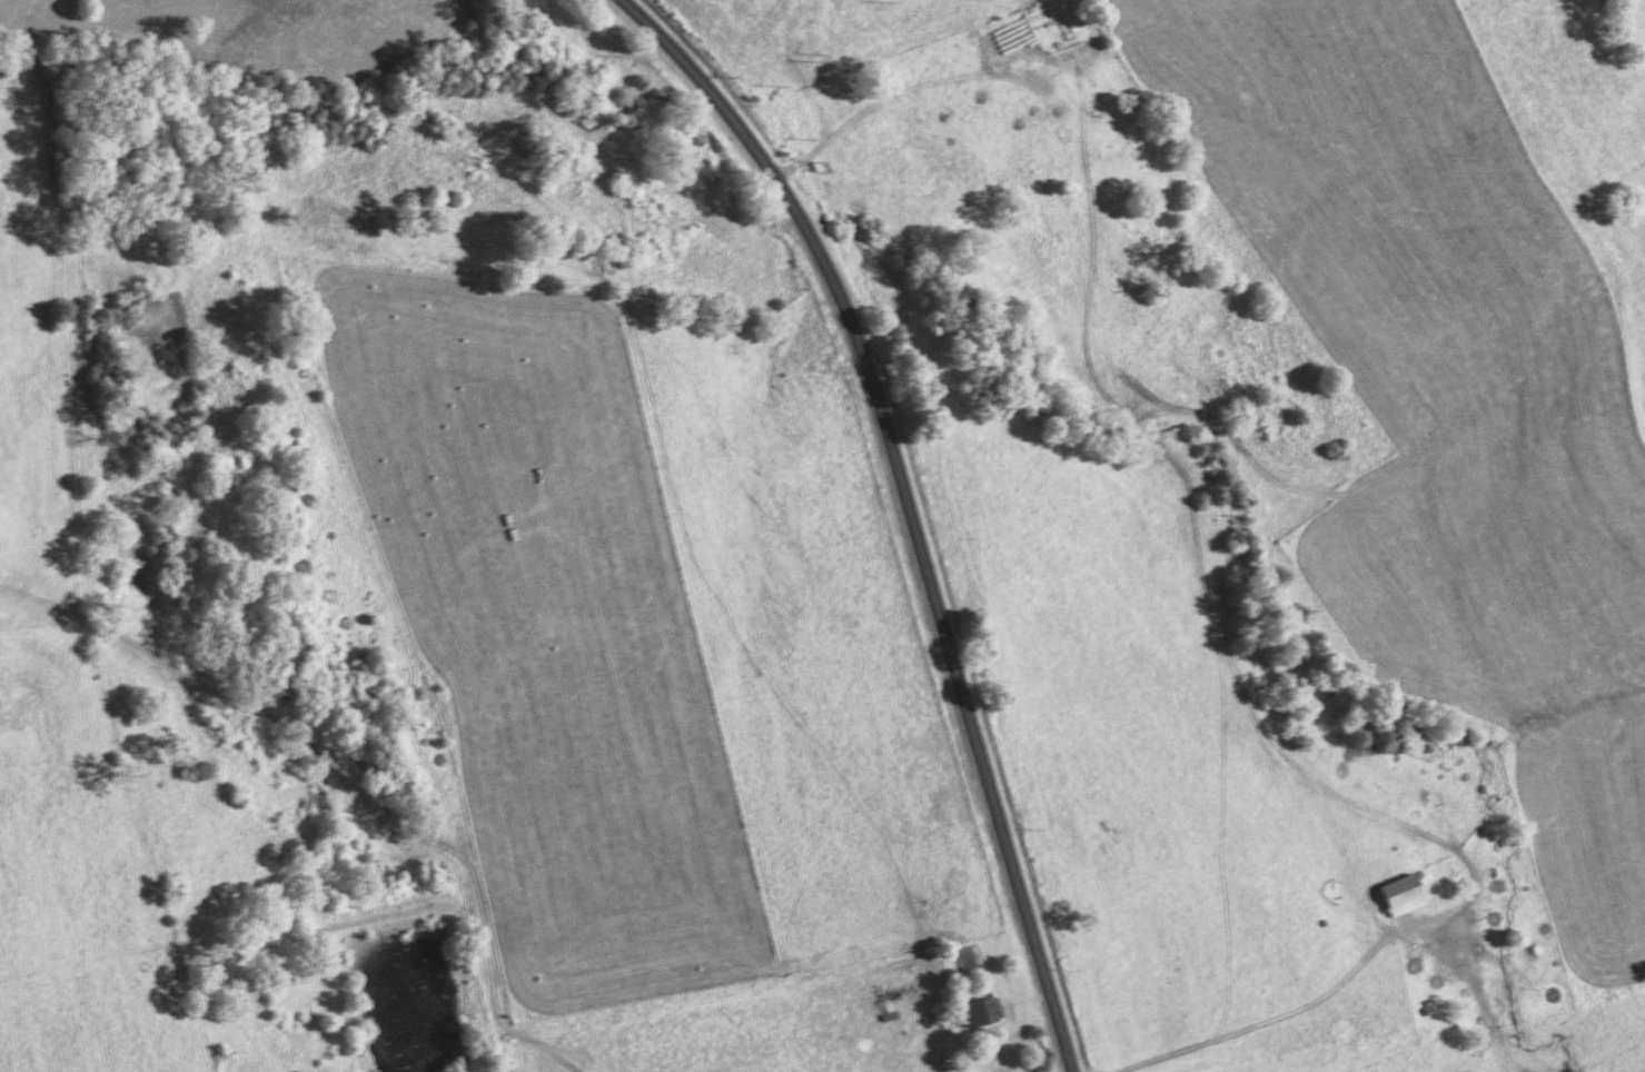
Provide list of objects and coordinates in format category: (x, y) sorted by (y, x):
road: (910, 505)
building: (1397, 899)
building: (979, 1013)

